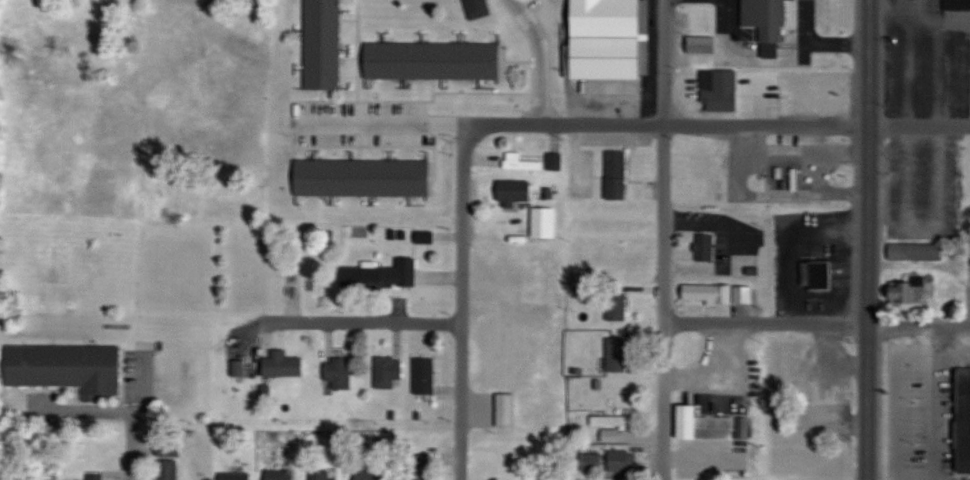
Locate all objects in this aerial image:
building: (958, 5)
building: (478, 8)
road: (919, 13)
building: (768, 24)
building: (323, 44)
building: (611, 44)
building: (701, 45)
road: (535, 56)
building: (433, 60)
road: (358, 61)
building: (722, 90)
road: (581, 123)
road: (919, 125)
road: (797, 149)
road: (463, 151)
building: (555, 161)
building: (520, 162)
building: (617, 175)
building: (363, 177)
road: (827, 186)
building: (514, 192)
building: (545, 223)
road: (660, 240)
road: (868, 240)
building: (706, 247)
building: (917, 251)
building: (509, 273)
building: (382, 275)
building: (818, 275)
building: (909, 292)
building: (718, 293)
building: (618, 305)
road: (365, 320)
road: (814, 325)
road: (462, 330)
building: (618, 354)
building: (283, 364)
building: (67, 367)
building: (389, 371)
building: (339, 372)
building: (425, 375)
building: (506, 410)
building: (611, 420)
building: (964, 421)
building: (704, 424)
building: (744, 427)
building: (611, 434)
road: (123, 449)
building: (702, 458)
building: (591, 461)
building: (167, 469)
building: (420, 471)
building: (280, 474)
building: (372, 474)
building: (235, 475)
building: (321, 475)
building: (95, 476)

